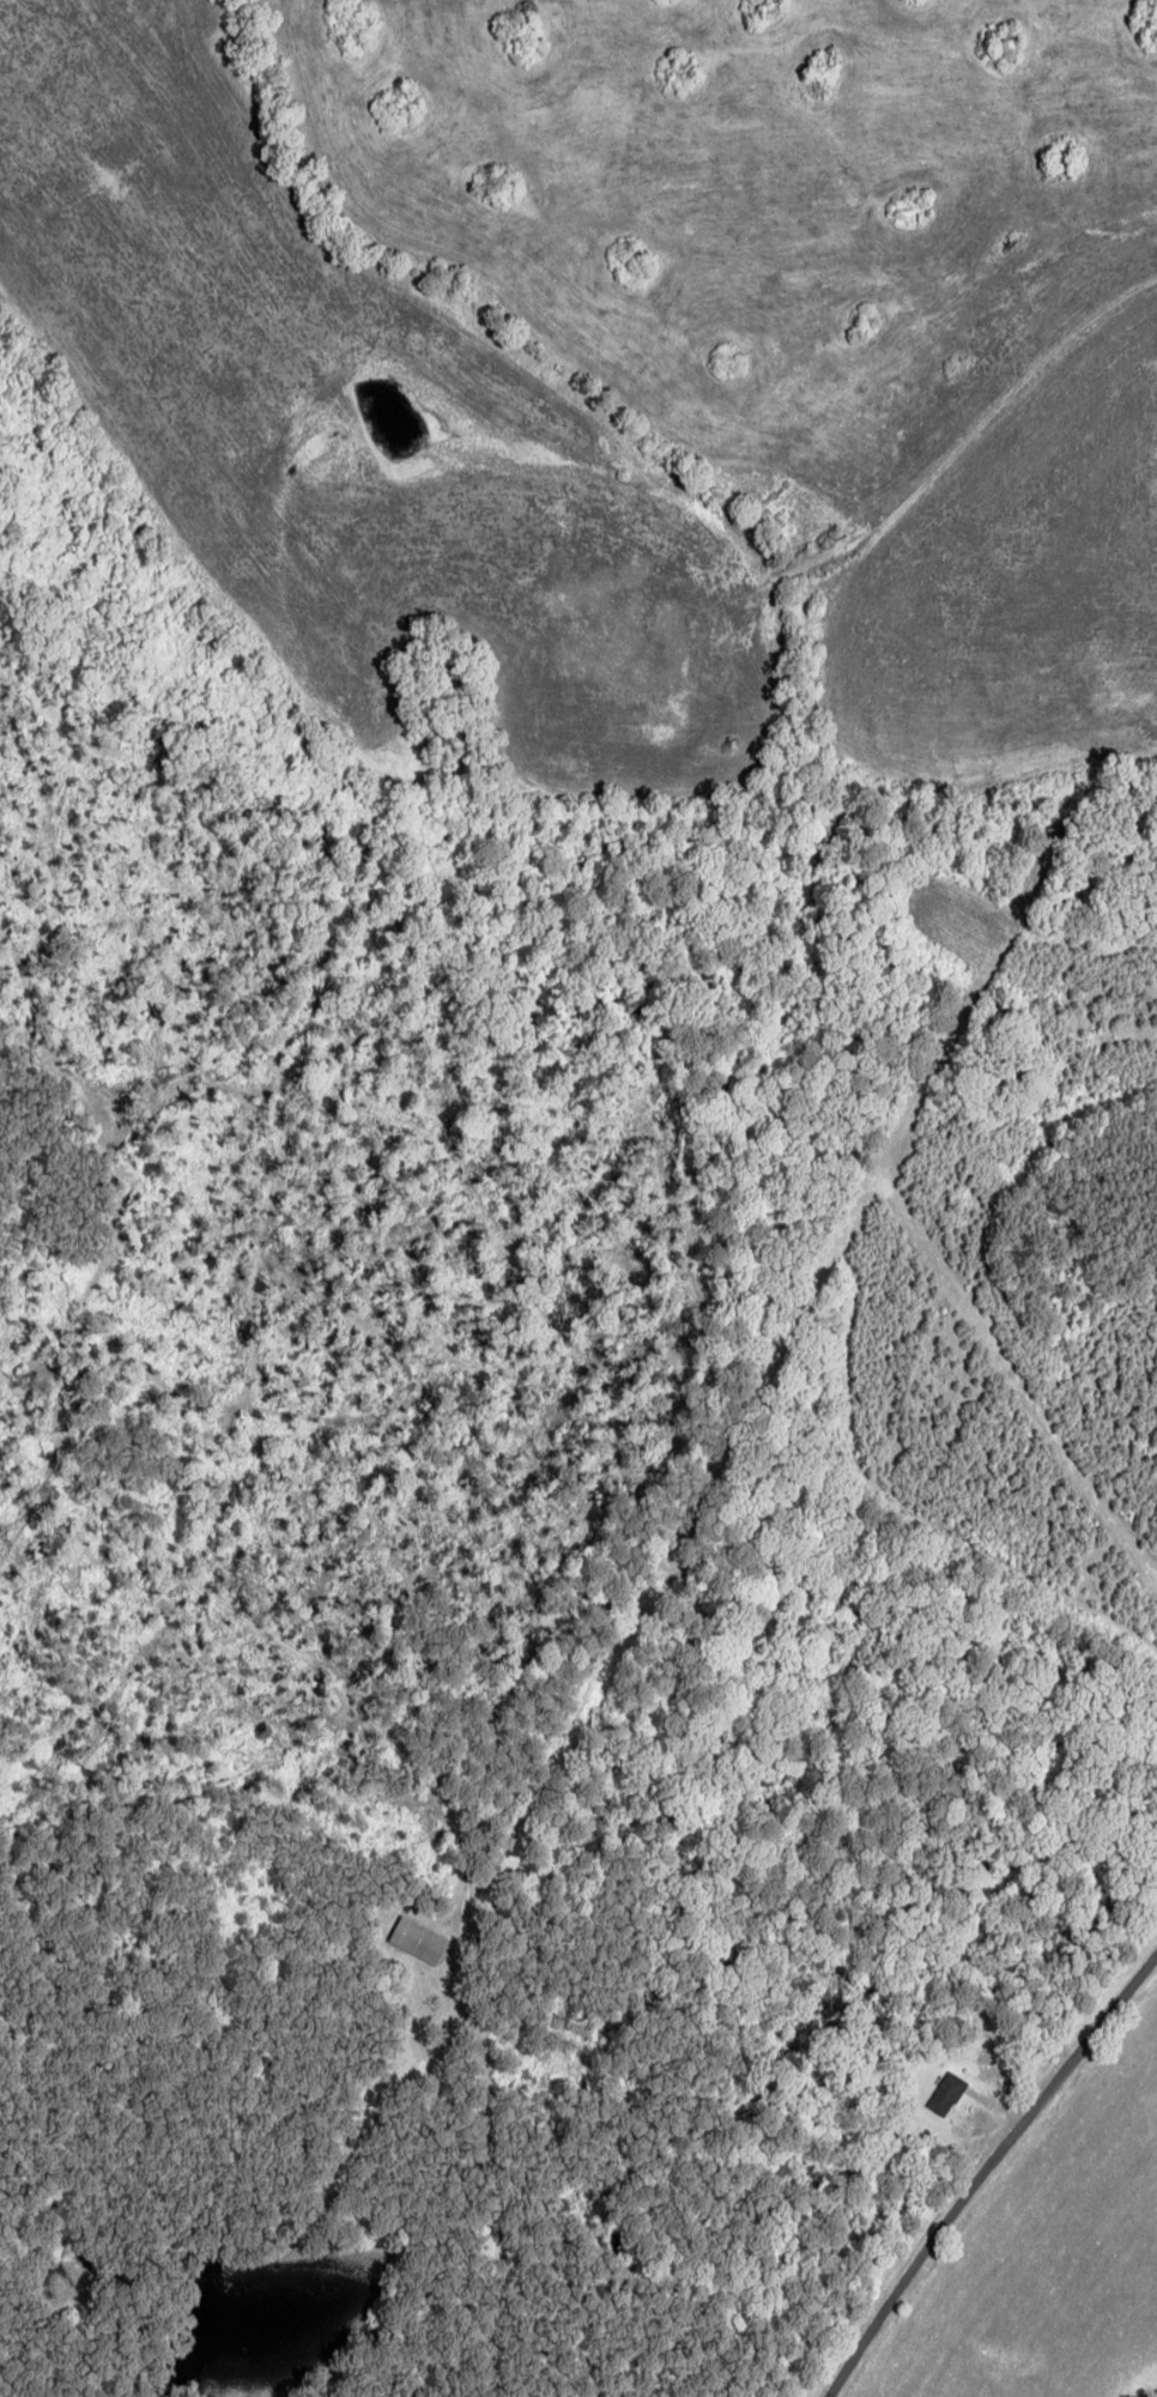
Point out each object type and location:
road: (242, 1603)
road: (844, 1700)
building: (418, 1939)
building: (951, 2088)
road: (987, 2165)

